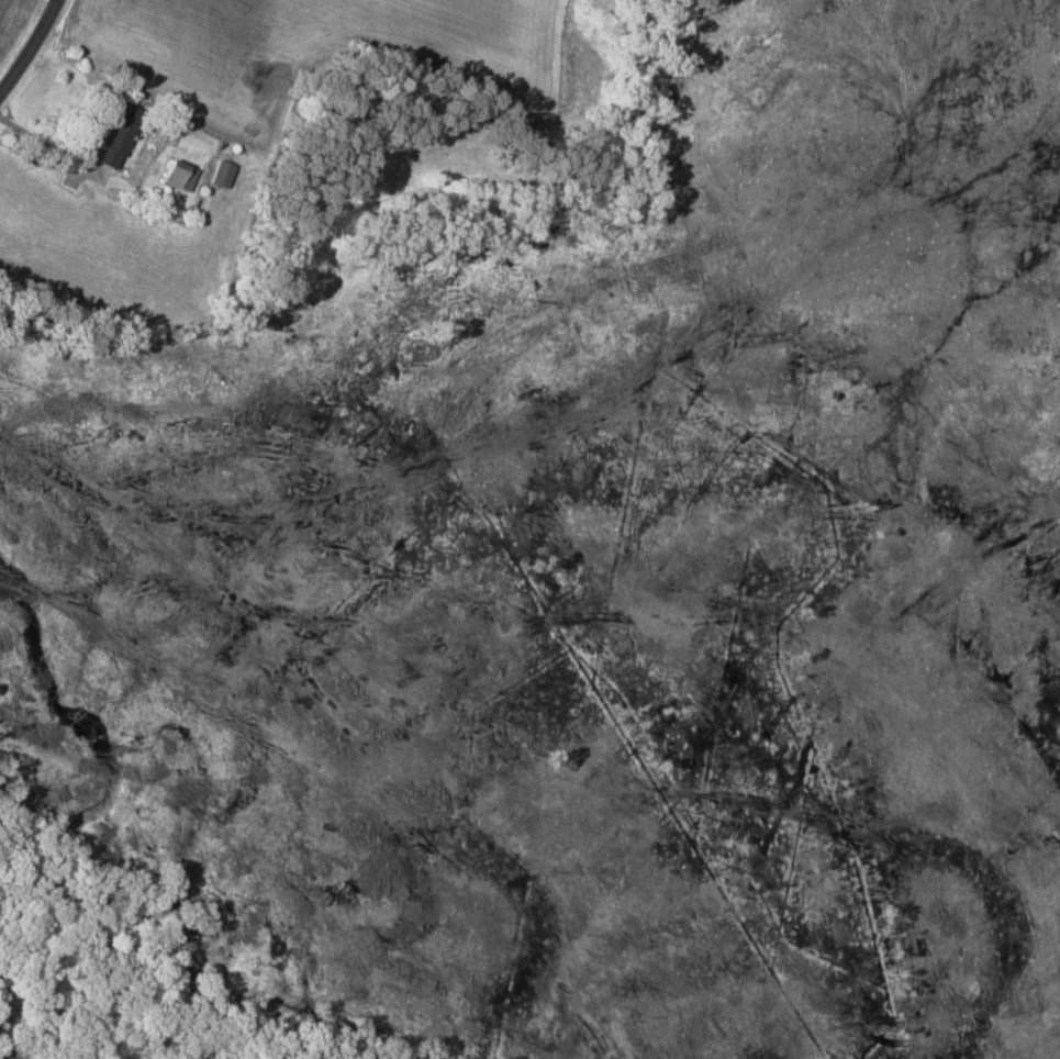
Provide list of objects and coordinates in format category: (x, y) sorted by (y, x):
road: (32, 52)
building: (120, 135)
building: (222, 172)
building: (180, 175)

